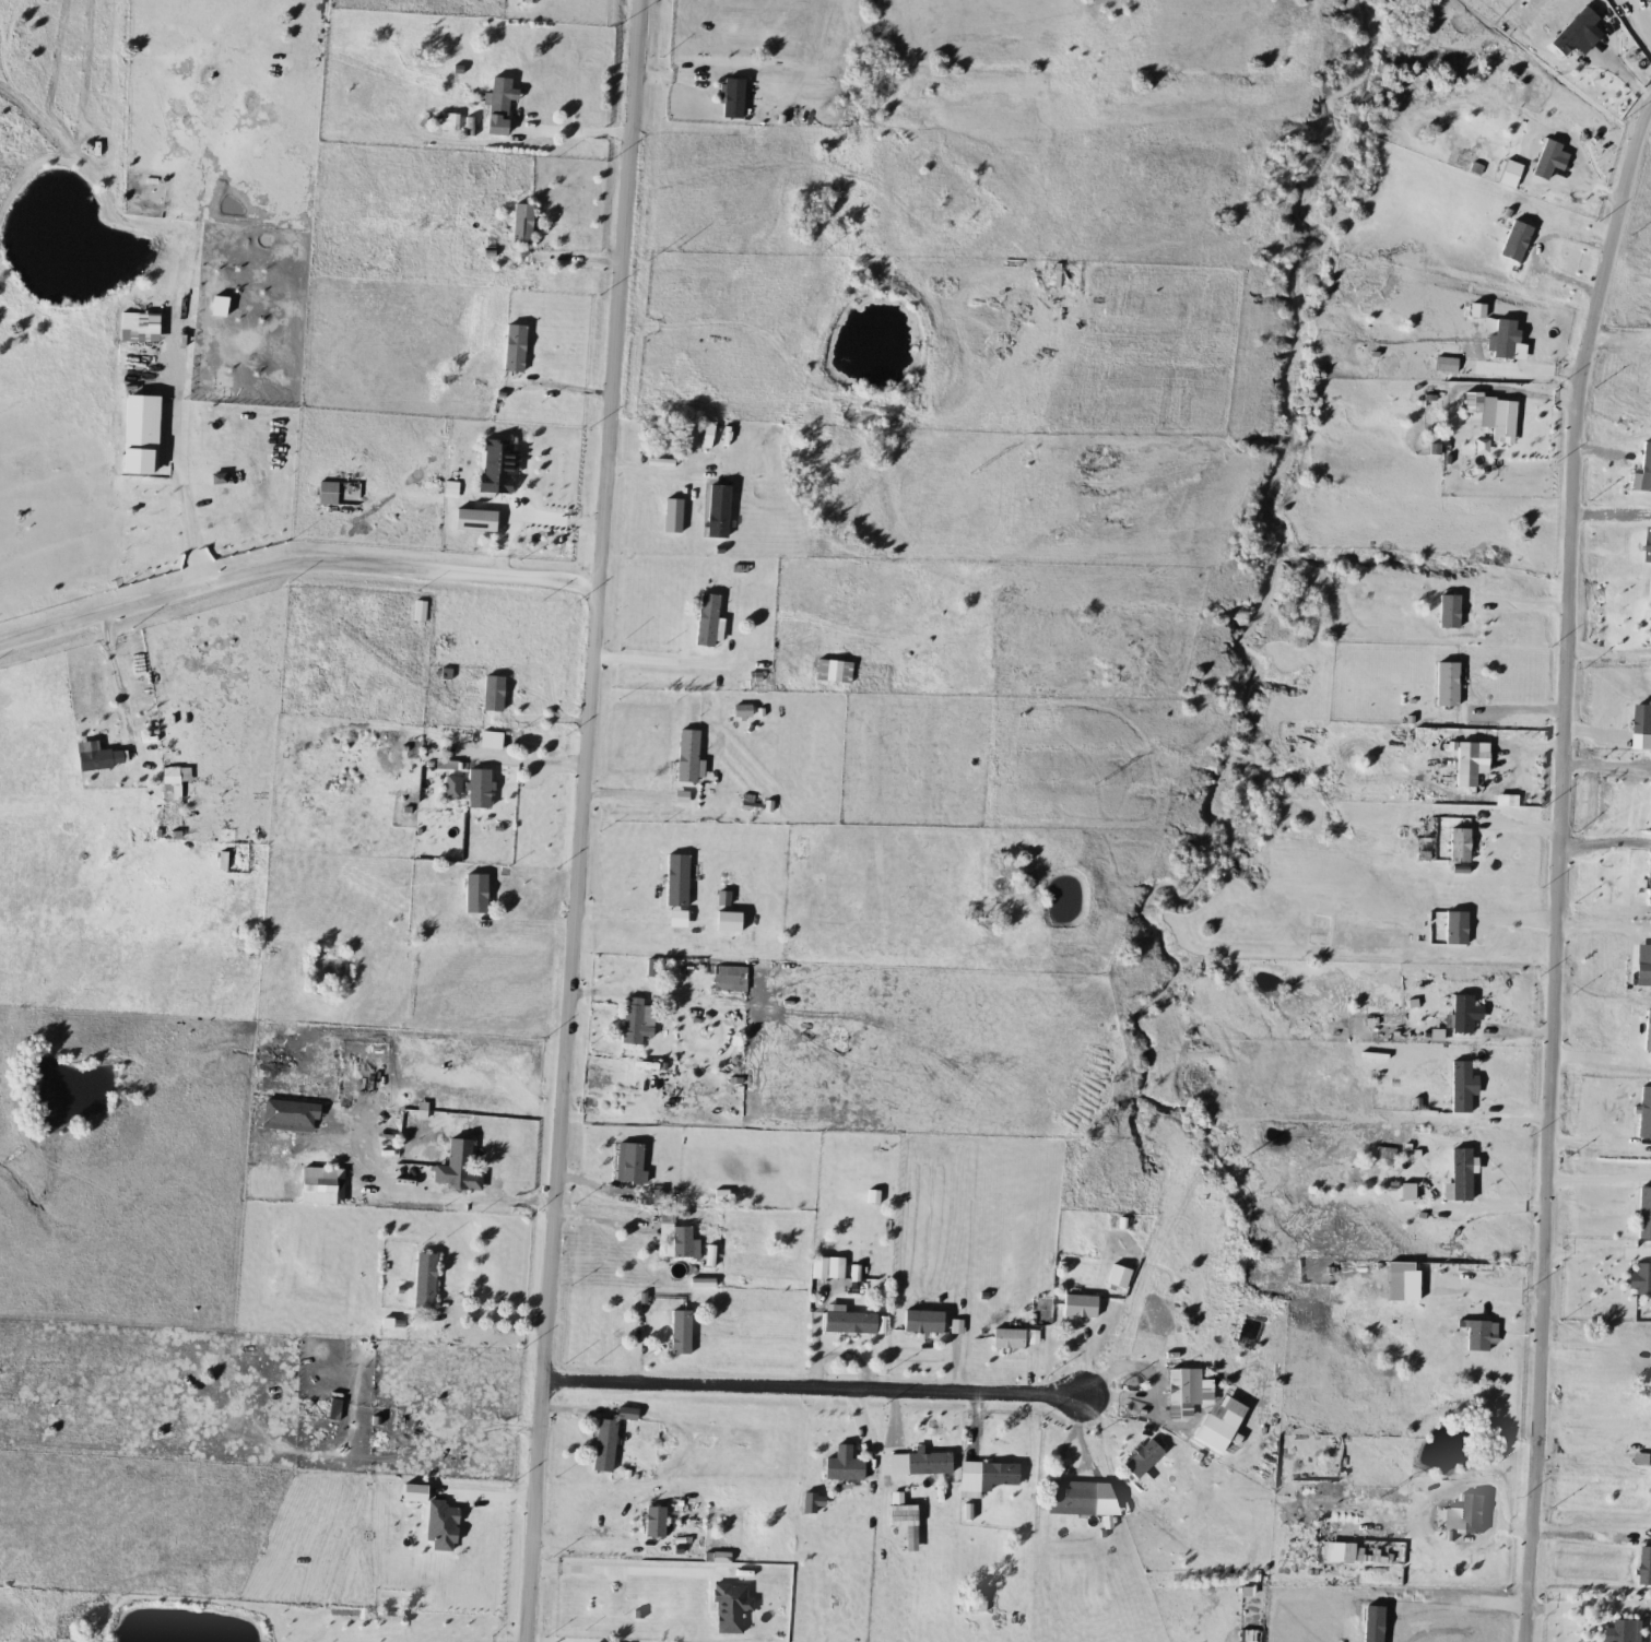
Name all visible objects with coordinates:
road: (1642, 16)
building: (497, 97)
building: (731, 98)
road: (579, 120)
building: (519, 224)
road: (1548, 240)
building: (1513, 241)
road: (1618, 328)
building: (512, 349)
building: (707, 434)
building: (688, 437)
building: (494, 468)
building: (1644, 468)
building: (326, 493)
building: (472, 510)
building: (715, 510)
road: (554, 517)
road: (191, 525)
building: (1648, 545)
road: (294, 566)
building: (1447, 612)
building: (705, 619)
road: (1606, 645)
road: (657, 659)
building: (830, 672)
road: (116, 680)
building: (1444, 685)
building: (490, 694)
building: (739, 712)
building: (684, 756)
building: (98, 760)
road: (1603, 764)
building: (168, 772)
building: (476, 789)
road: (583, 820)
road: (1602, 836)
building: (1457, 846)
road: (1553, 870)
building: (675, 882)
building: (473, 895)
building: (726, 922)
road: (1609, 925)
building: (648, 969)
building: (728, 980)
road: (686, 1013)
building: (629, 1025)
road: (1606, 1058)
building: (1459, 1087)
building: (1642, 1114)
road: (612, 1119)
building: (630, 1163)
building: (456, 1165)
building: (1459, 1176)
road: (1591, 1180)
building: (646, 1198)
road: (497, 1200)
building: (1642, 1214)
road: (601, 1220)
building: (673, 1238)
building: (826, 1268)
building: (1116, 1277)
building: (1639, 1280)
building: (422, 1281)
building: (1078, 1306)
road: (491, 1313)
building: (846, 1323)
building: (920, 1323)
building: (679, 1333)
building: (1472, 1334)
building: (1030, 1336)
building: (1005, 1339)
road: (1588, 1346)
road: (810, 1395)
building: (623, 1415)
building: (602, 1446)
road: (1581, 1458)
building: (1140, 1461)
building: (925, 1465)
building: (992, 1476)
building: (1069, 1499)
building: (899, 1517)
building: (413, 1524)
road: (1581, 1536)
road: (587, 1539)
road: (626, 1560)
building: (1644, 1568)
building: (611, 1596)
road: (1587, 1598)
building: (974, 1604)
building: (1626, 1632)

